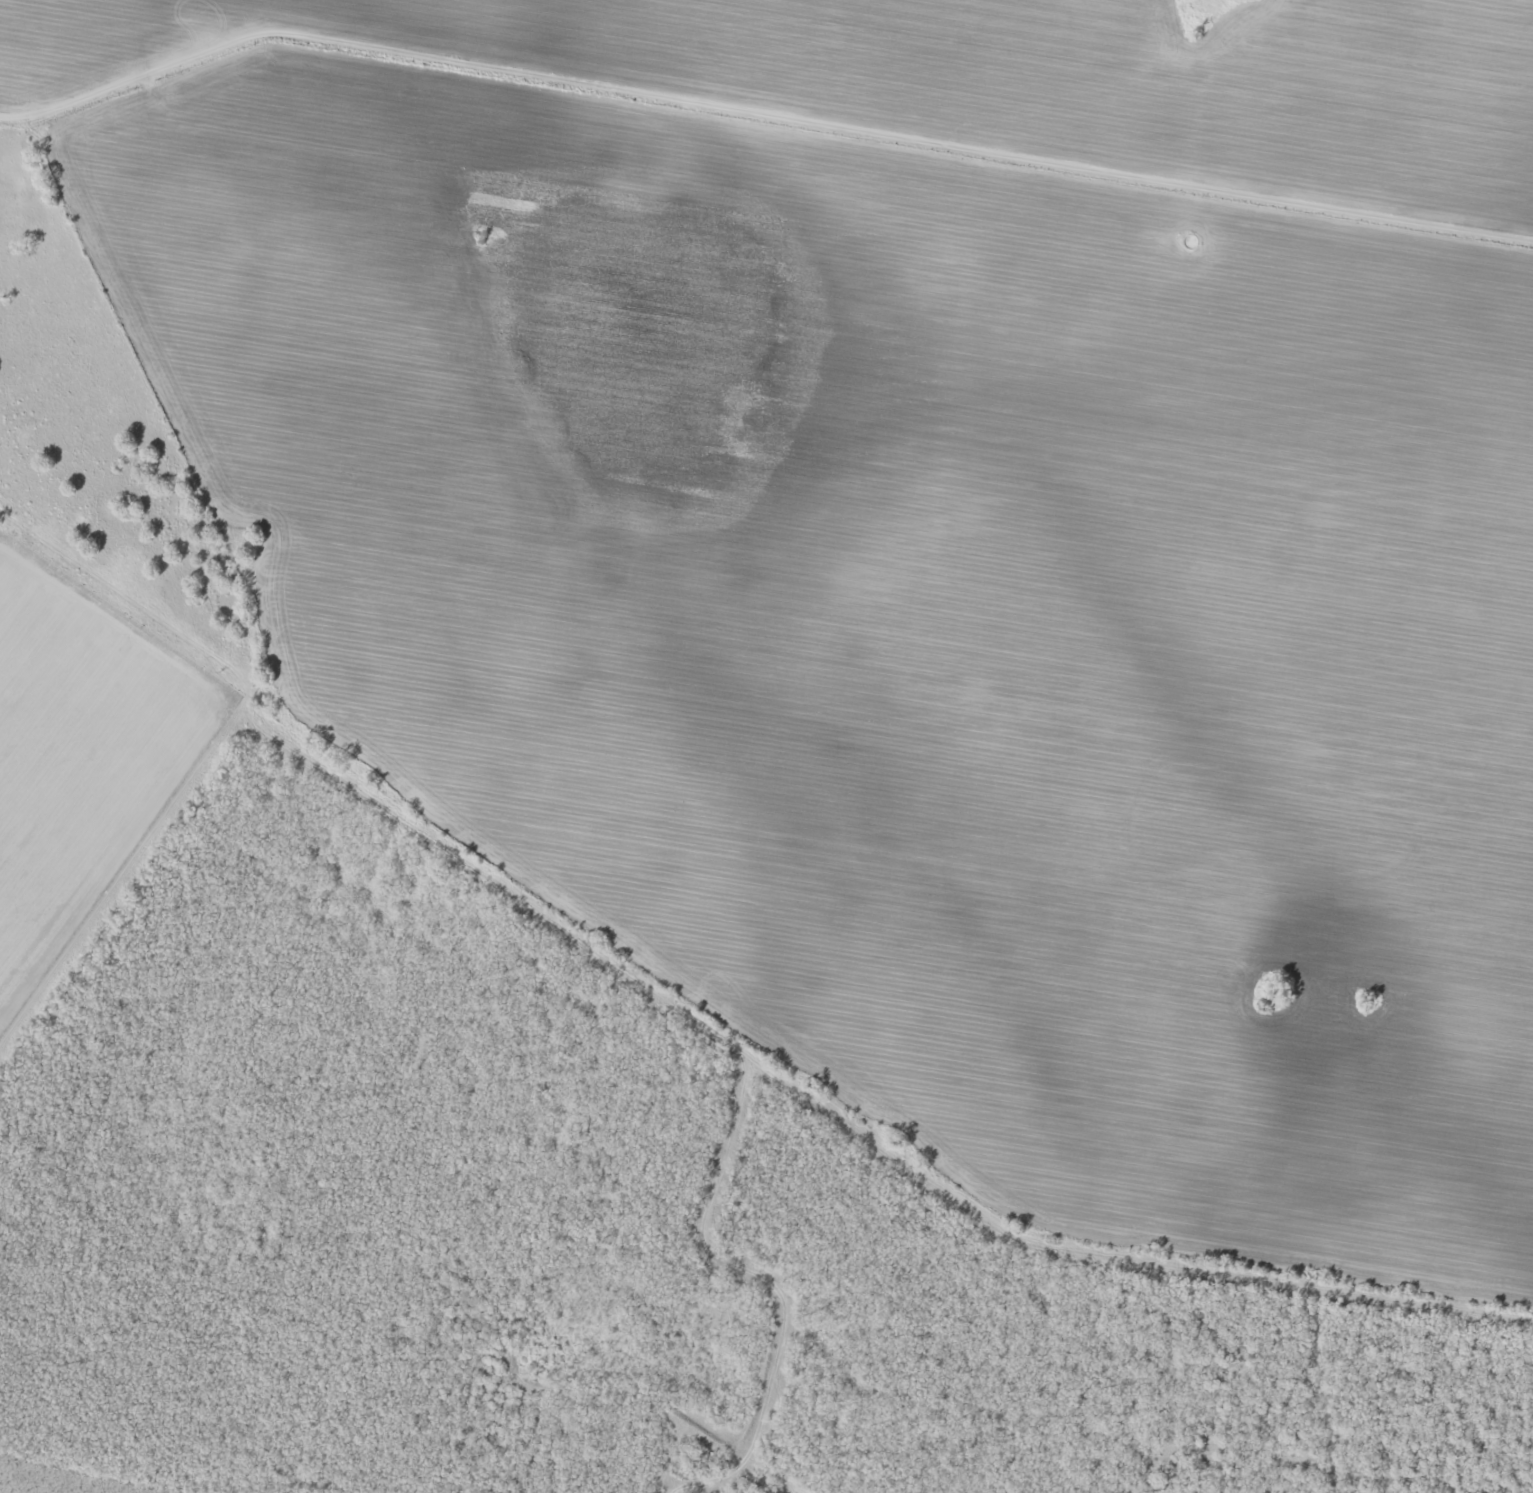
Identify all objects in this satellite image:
road: (765, 106)
road: (221, 622)

